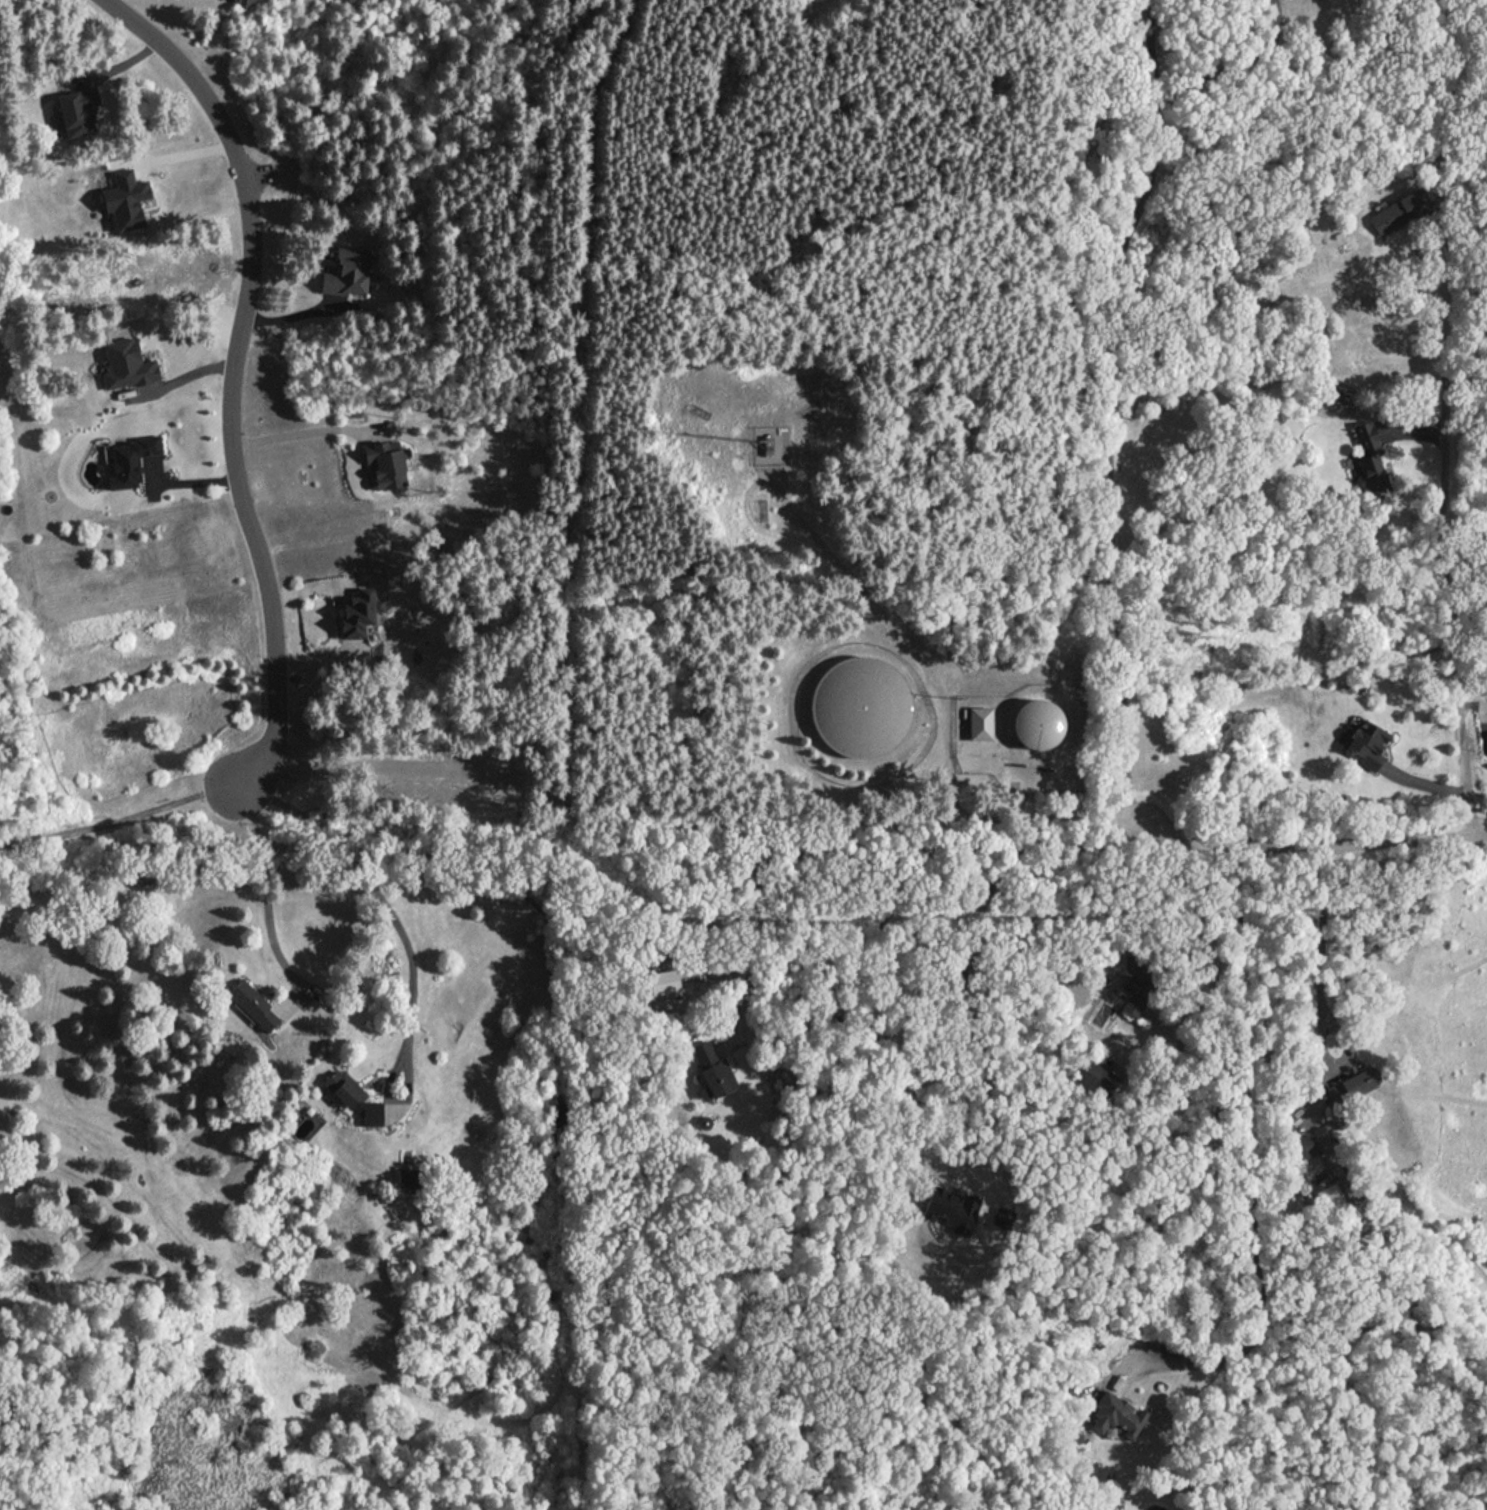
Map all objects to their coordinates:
building: (74, 113)
road: (170, 156)
building: (125, 199)
building: (1397, 211)
building: (345, 272)
building: (126, 364)
road: (179, 378)
road: (233, 379)
road: (1092, 419)
road: (298, 436)
building: (1368, 453)
building: (130, 460)
building: (384, 464)
road: (1448, 570)
road: (31, 598)
building: (357, 613)
park: (17, 656)
building: (860, 706)
road: (941, 715)
road: (1486, 717)
building: (980, 722)
building: (1036, 723)
building: (1366, 743)
road: (120, 822)
road: (1317, 841)
road: (867, 852)
road: (261, 897)
road: (386, 909)
road: (1207, 936)
road: (1311, 959)
building: (662, 981)
building: (1137, 989)
building: (252, 1003)
building: (711, 1070)
building: (1095, 1077)
building: (1351, 1085)
building: (354, 1097)
road: (1246, 1111)
building: (1304, 1145)
building: (407, 1177)
building: (1335, 1193)
building: (951, 1209)
building: (1116, 1414)
building: (1073, 1434)

